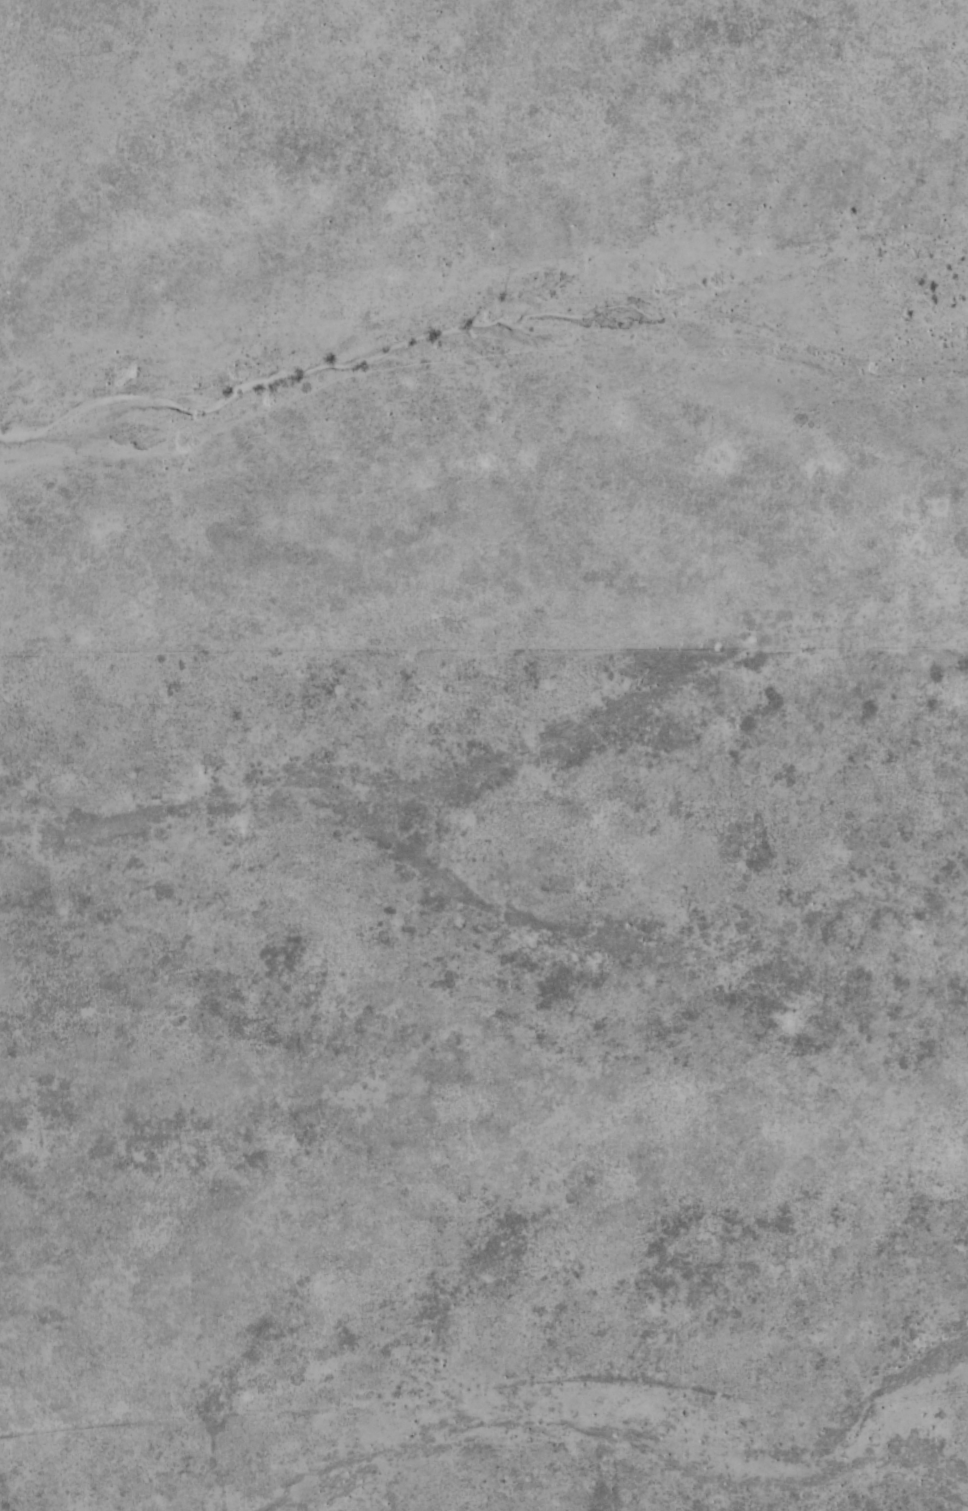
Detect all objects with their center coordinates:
road: (483, 1376)

